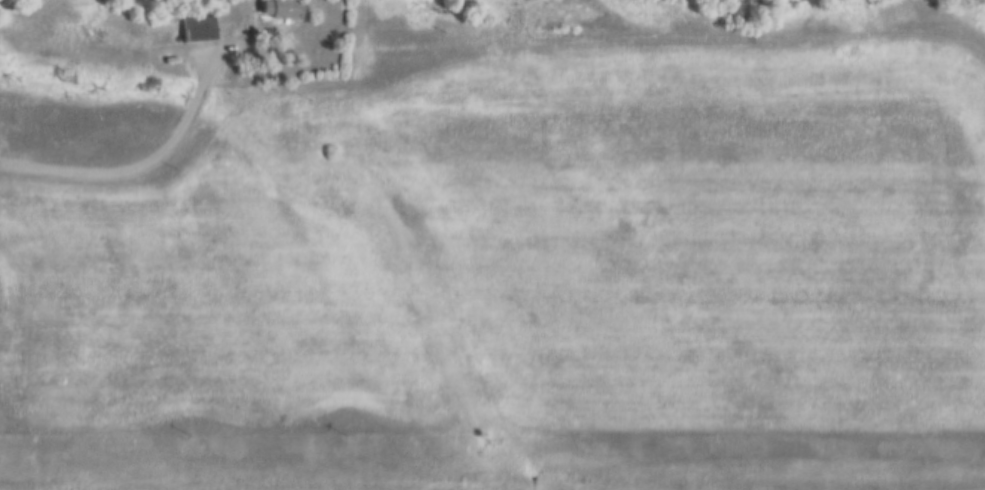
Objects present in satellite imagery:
building: (282, 10)
building: (574, 14)
building: (200, 30)
road: (593, 42)
road: (142, 176)

